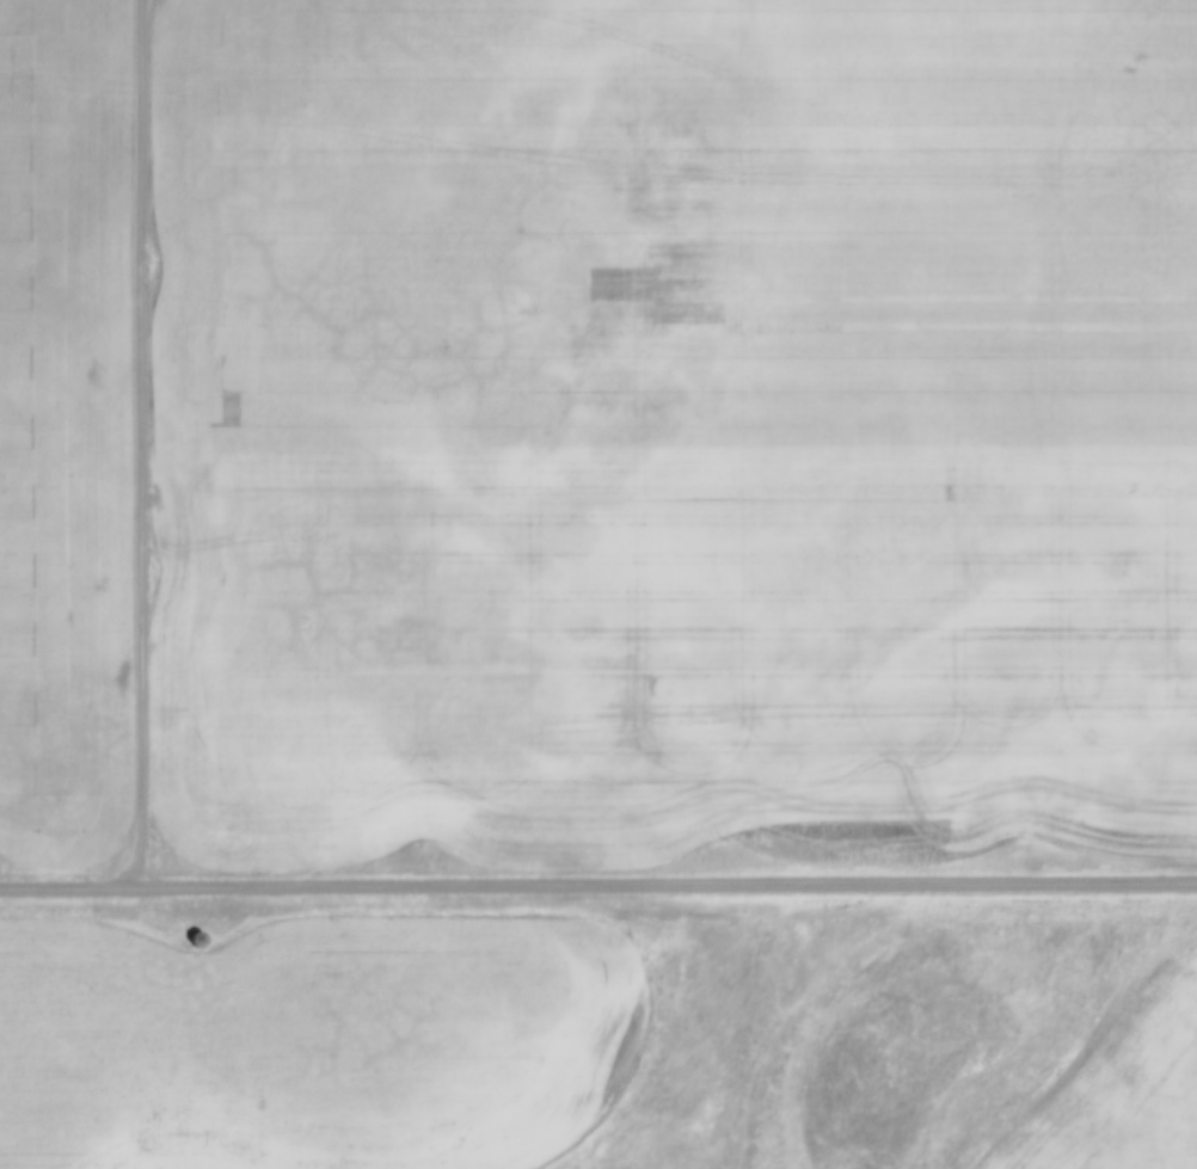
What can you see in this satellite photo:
road: (147, 443)
road: (597, 885)
building: (211, 933)

